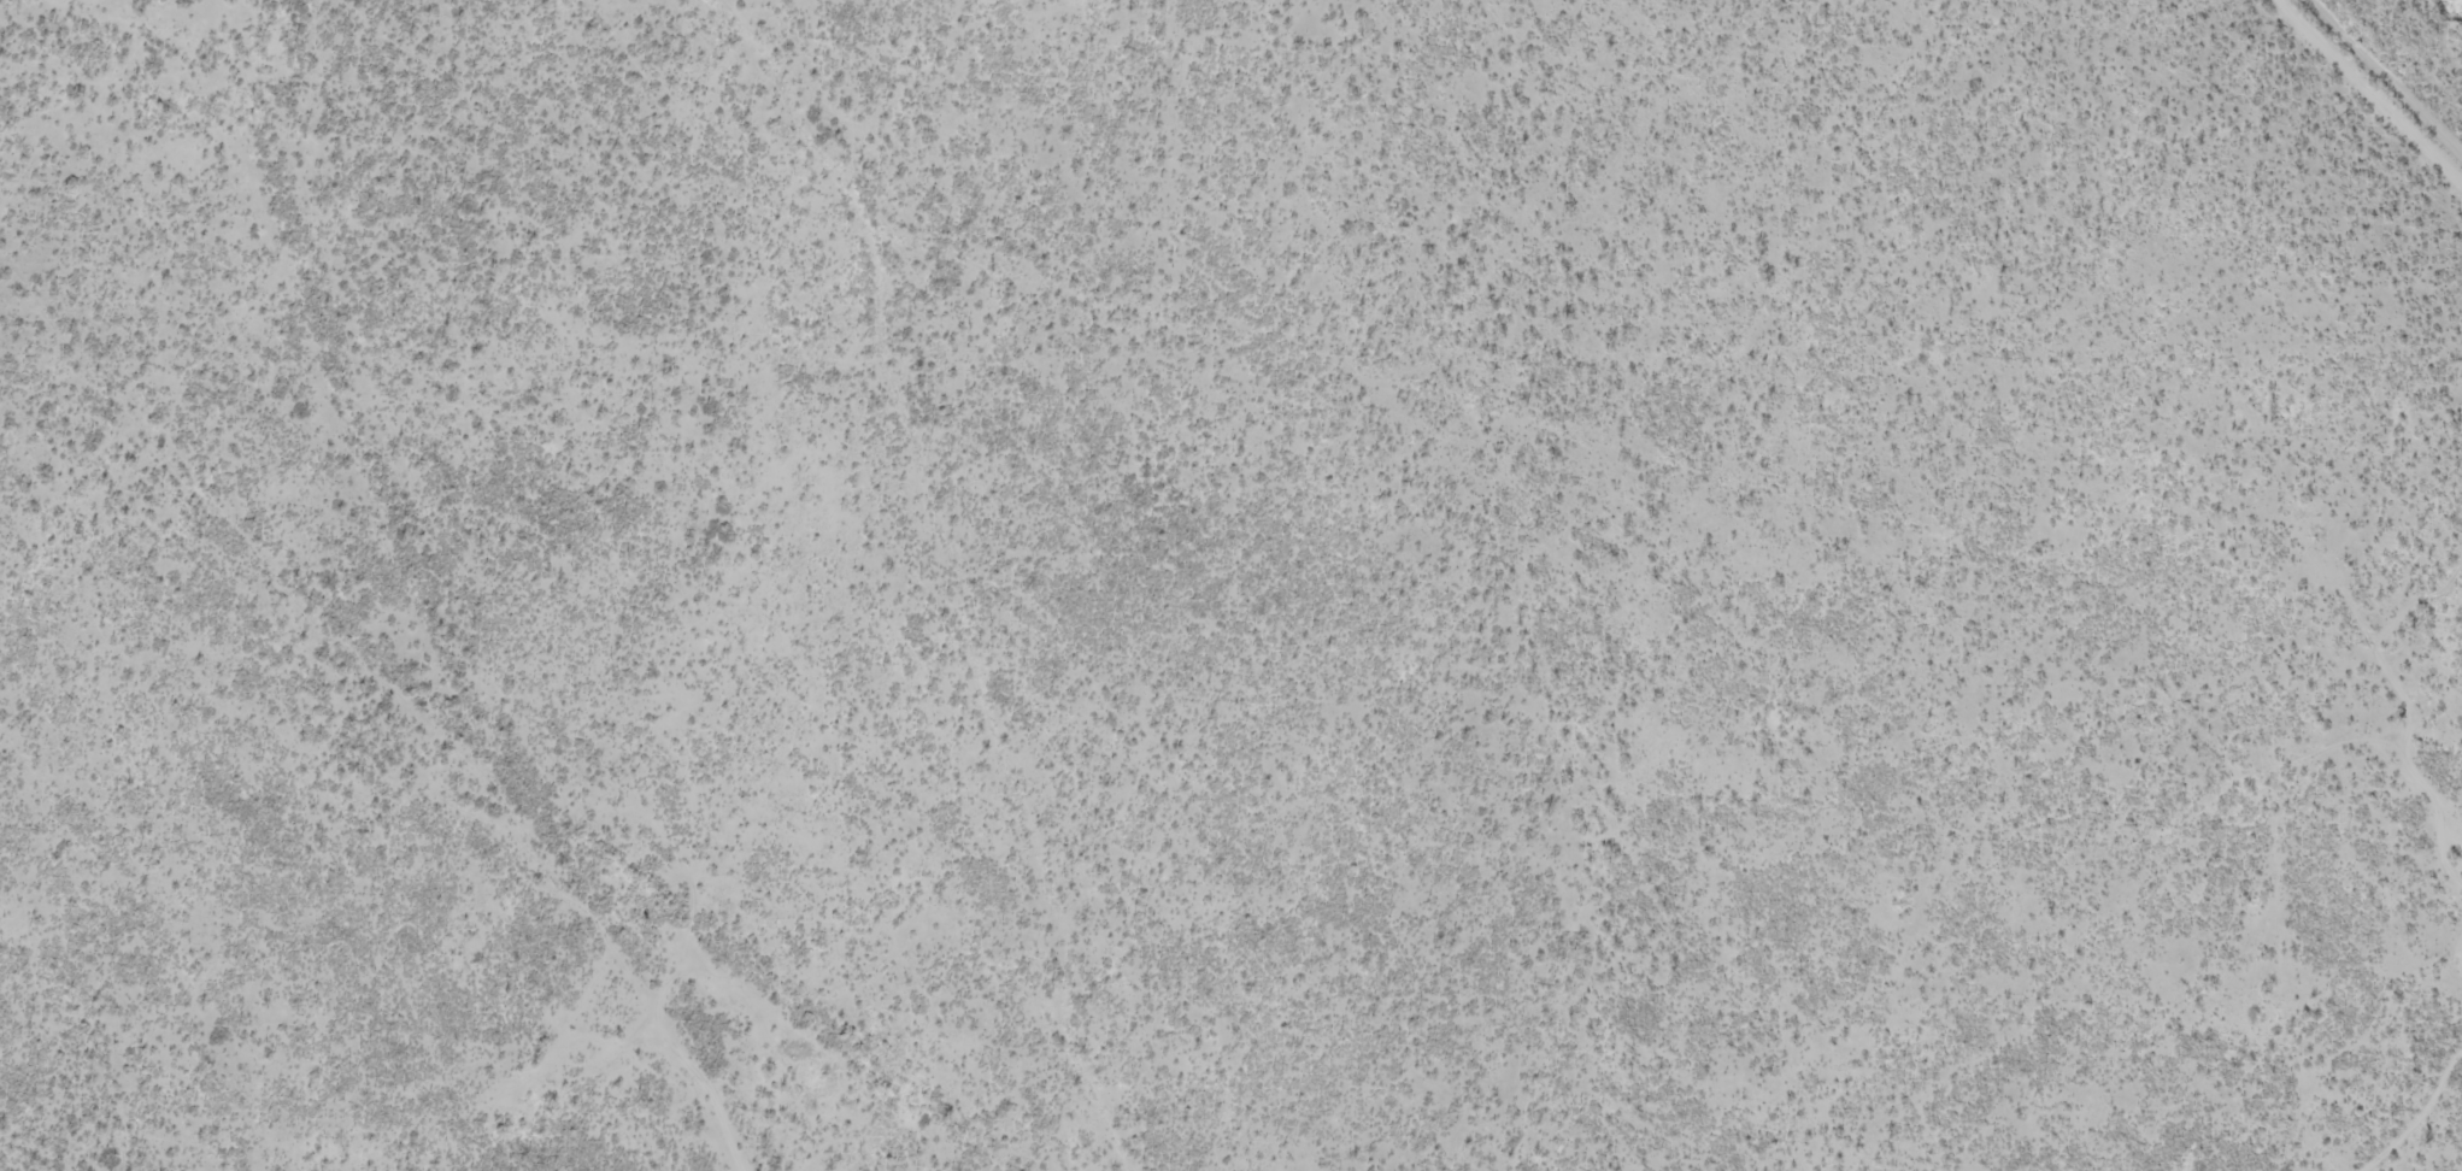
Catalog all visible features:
airport: (2417, 45)
road: (1639, 547)
road: (960, 572)

